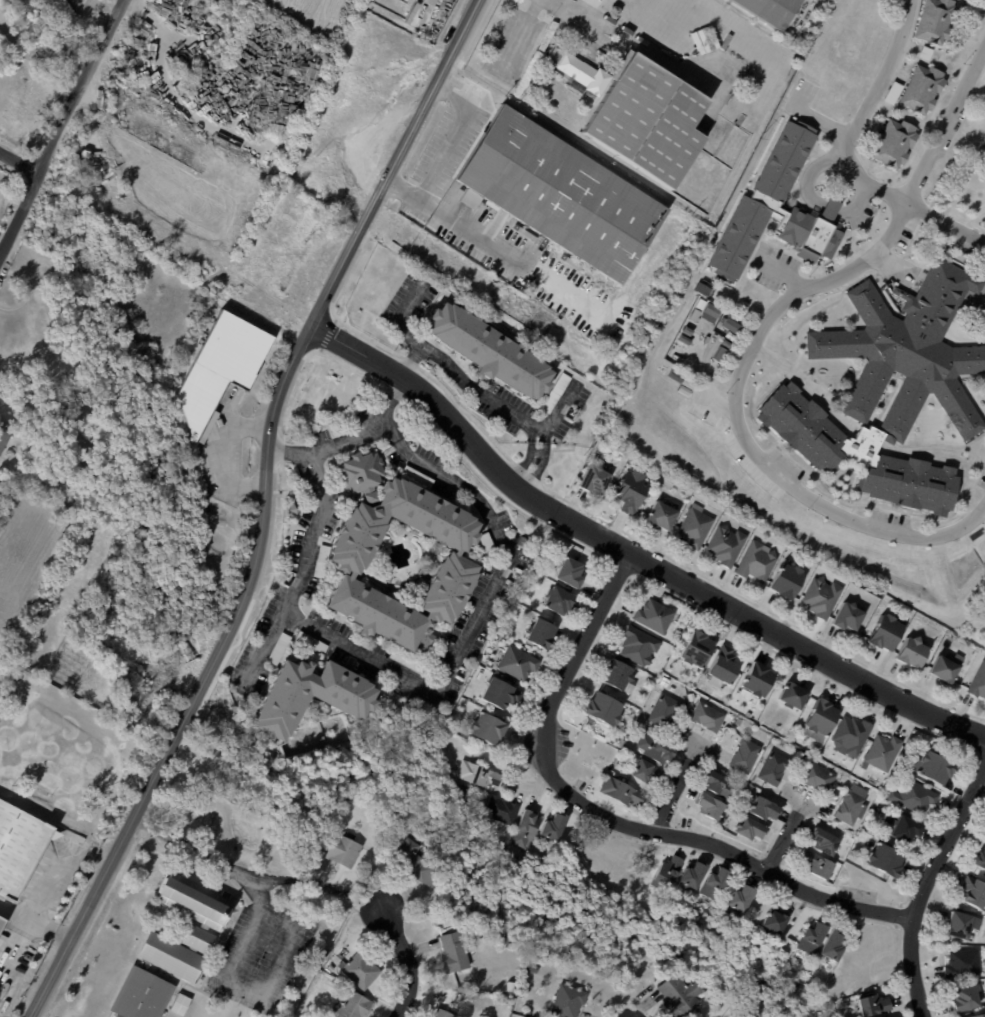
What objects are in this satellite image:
building: (771, 10)
building: (932, 20)
road: (520, 33)
road: (637, 45)
building: (924, 52)
building: (528, 87)
building: (921, 88)
building: (891, 93)
building: (640, 114)
road: (63, 124)
road: (452, 137)
building: (893, 143)
building: (984, 151)
road: (19, 160)
road: (394, 162)
road: (925, 168)
road: (812, 170)
road: (409, 194)
building: (560, 194)
road: (859, 200)
road: (830, 207)
building: (777, 208)
road: (481, 240)
road: (783, 273)
road: (980, 299)
building: (428, 302)
building: (698, 310)
road: (774, 310)
building: (712, 313)
building: (732, 316)
building: (732, 325)
building: (689, 330)
building: (731, 336)
building: (685, 340)
building: (727, 344)
building: (491, 350)
building: (720, 355)
road: (409, 360)
building: (220, 371)
building: (689, 383)
road: (474, 388)
building: (926, 388)
building: (685, 390)
building: (556, 393)
building: (4, 435)
road: (227, 452)
road: (292, 454)
building: (632, 462)
building: (75, 470)
building: (360, 473)
building: (415, 475)
building: (596, 479)
building: (633, 491)
building: (295, 509)
road: (320, 515)
building: (663, 516)
building: (697, 526)
building: (488, 545)
building: (727, 545)
road: (633, 552)
building: (320, 559)
building: (758, 561)
building: (458, 564)
building: (571, 573)
building: (830, 577)
building: (788, 580)
building: (822, 597)
building: (559, 600)
building: (655, 616)
building: (849, 617)
road: (478, 618)
building: (678, 633)
building: (887, 633)
building: (541, 634)
building: (312, 643)
road: (581, 644)
building: (639, 645)
building: (425, 646)
building: (697, 648)
building: (281, 649)
building: (913, 652)
building: (410, 662)
building: (518, 664)
building: (723, 667)
building: (946, 668)
building: (617, 673)
building: (758, 680)
road: (204, 682)
building: (979, 683)
building: (502, 694)
building: (692, 696)
building: (794, 696)
building: (721, 700)
building: (347, 702)
building: (603, 708)
building: (664, 710)
building: (748, 714)
building: (707, 717)
building: (822, 718)
building: (738, 722)
building: (489, 730)
building: (851, 735)
building: (793, 737)
road: (697, 741)
building: (621, 743)
building: (656, 749)
building: (883, 752)
building: (746, 755)
building: (804, 763)
building: (932, 767)
building: (774, 768)
building: (647, 771)
building: (476, 773)
building: (819, 777)
building: (719, 783)
road: (676, 784)
building: (621, 791)
building: (915, 797)
road: (802, 799)
building: (710, 805)
building: (765, 807)
building: (849, 807)
building: (880, 808)
building: (502, 811)
building: (721, 819)
building: (752, 827)
building: (554, 828)
building: (906, 828)
building: (526, 830)
road: (785, 834)
road: (714, 841)
building: (824, 841)
building: (18, 846)
building: (339, 847)
building: (886, 859)
building: (980, 859)
building: (414, 863)
building: (818, 864)
road: (235, 871)
building: (668, 873)
building: (693, 876)
building: (716, 884)
road: (925, 890)
building: (974, 892)
building: (743, 898)
road: (368, 902)
building: (1, 921)
building: (776, 921)
road: (33, 924)
building: (957, 924)
road: (251, 927)
building: (814, 937)
road: (291, 938)
building: (834, 946)
building: (173, 947)
building: (455, 951)
road: (408, 962)
building: (965, 964)
building: (532, 968)
building: (361, 970)
building: (984, 983)
building: (510, 987)
building: (710, 988)
building: (783, 991)
building: (681, 995)
building: (967, 997)
building: (507, 1000)
building: (569, 1000)
building: (180, 1004)
building: (873, 1004)
building: (355, 1005)
building: (529, 1012)
building: (313, 1013)
building: (443, 1013)
building: (979, 1015)
building: (525, 1016)
building: (881, 1016)

